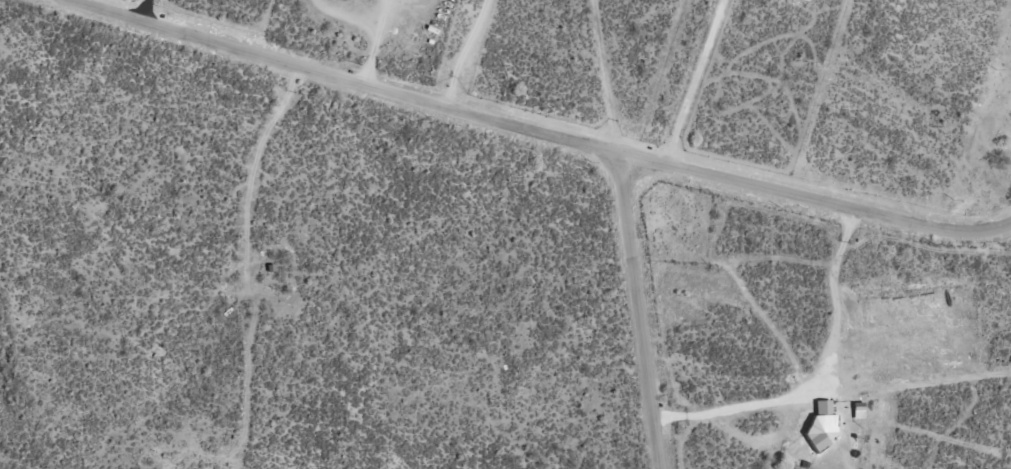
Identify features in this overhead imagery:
road: (536, 131)
road: (642, 312)
building: (820, 431)

